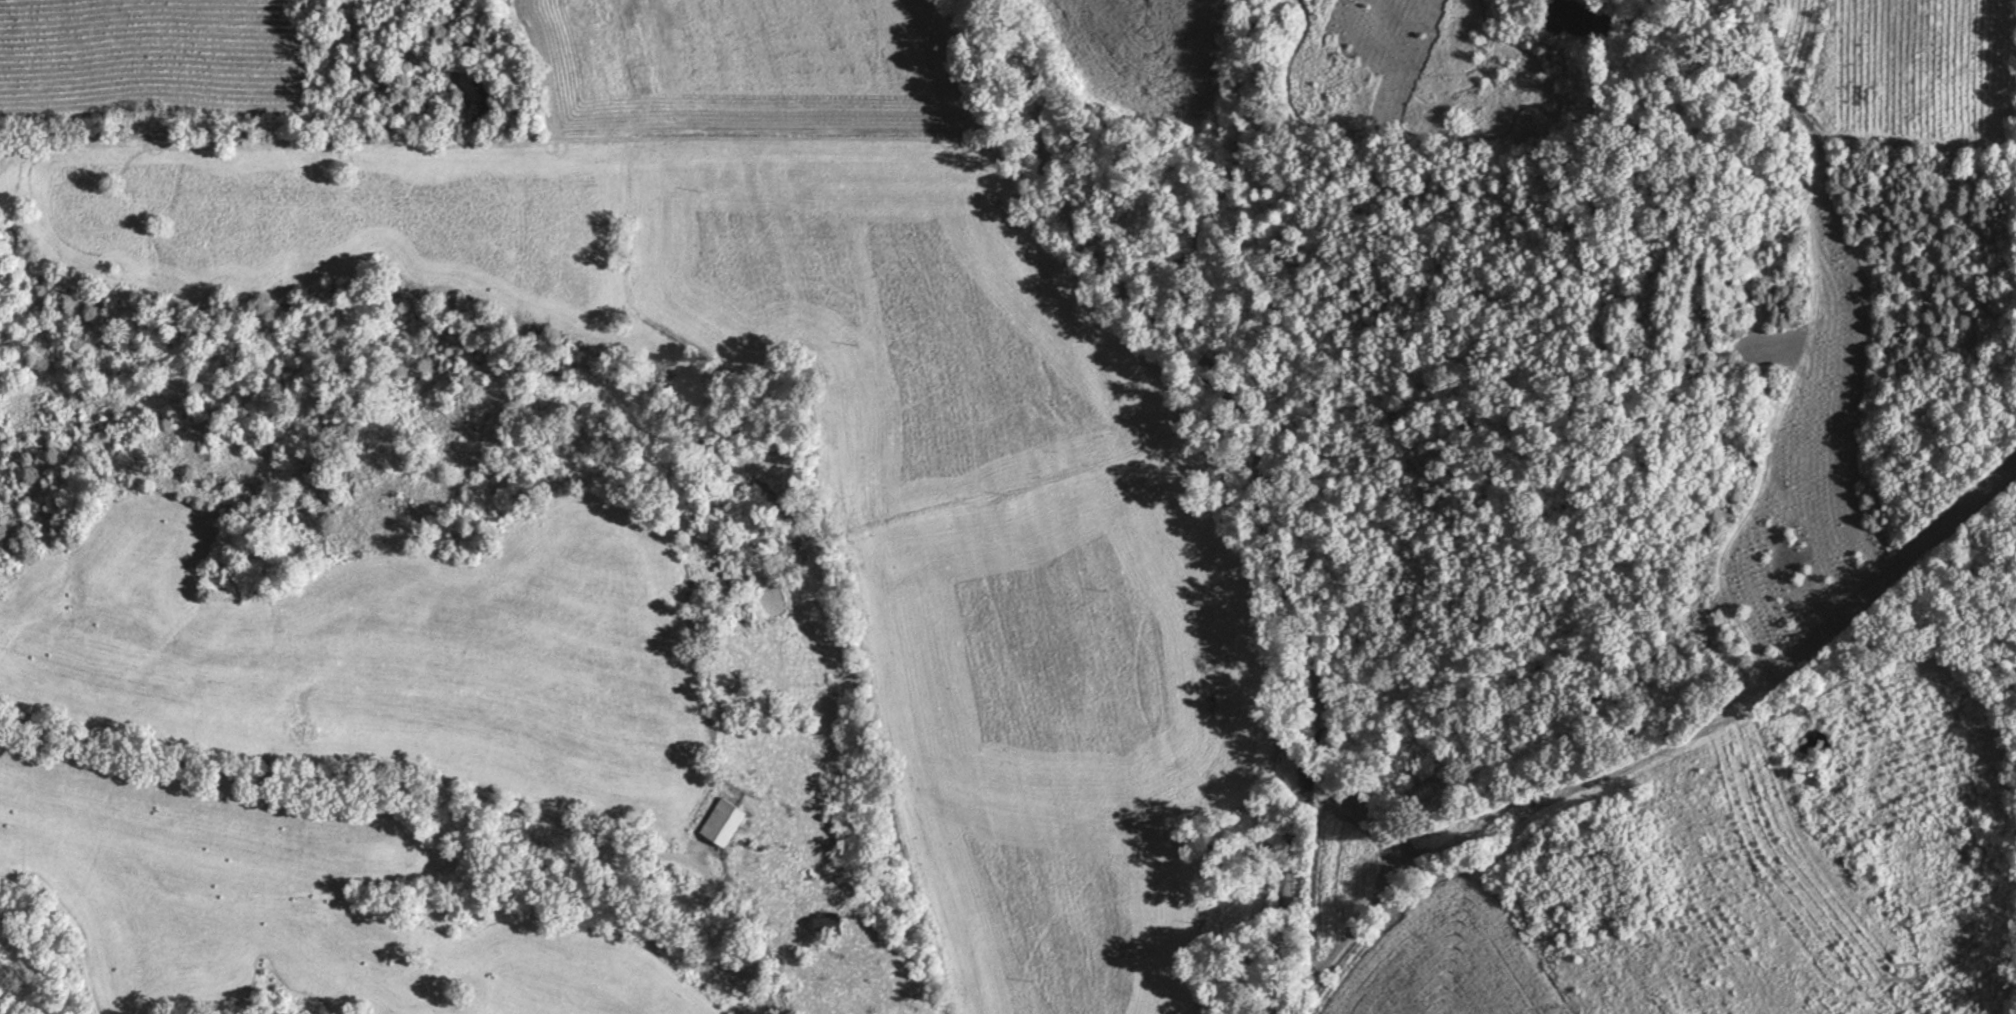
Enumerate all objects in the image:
park: (781, 414)
building: (1422, 784)
road: (428, 810)
building: (724, 822)
road: (1373, 915)
building: (830, 924)

